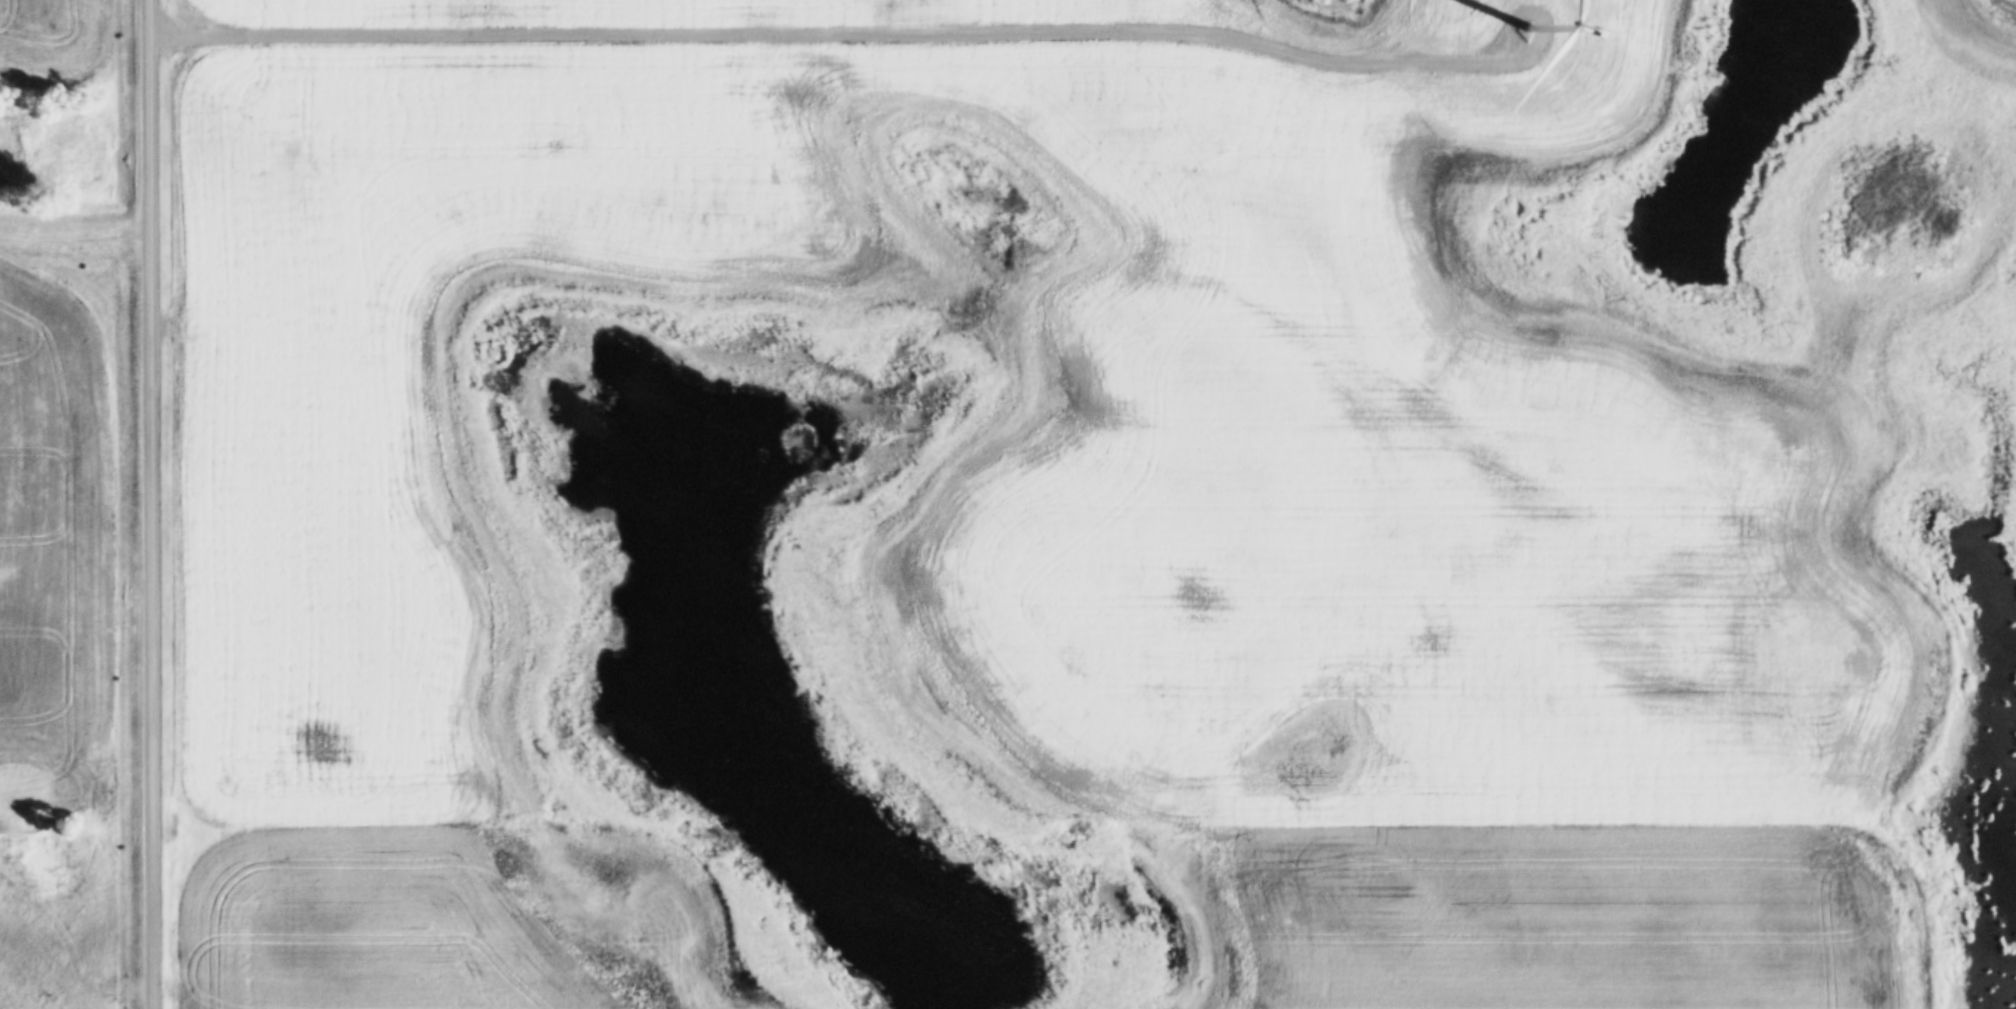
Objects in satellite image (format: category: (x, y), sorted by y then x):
wind turbine: (1532, 31)
road: (76, 236)
road: (155, 504)

